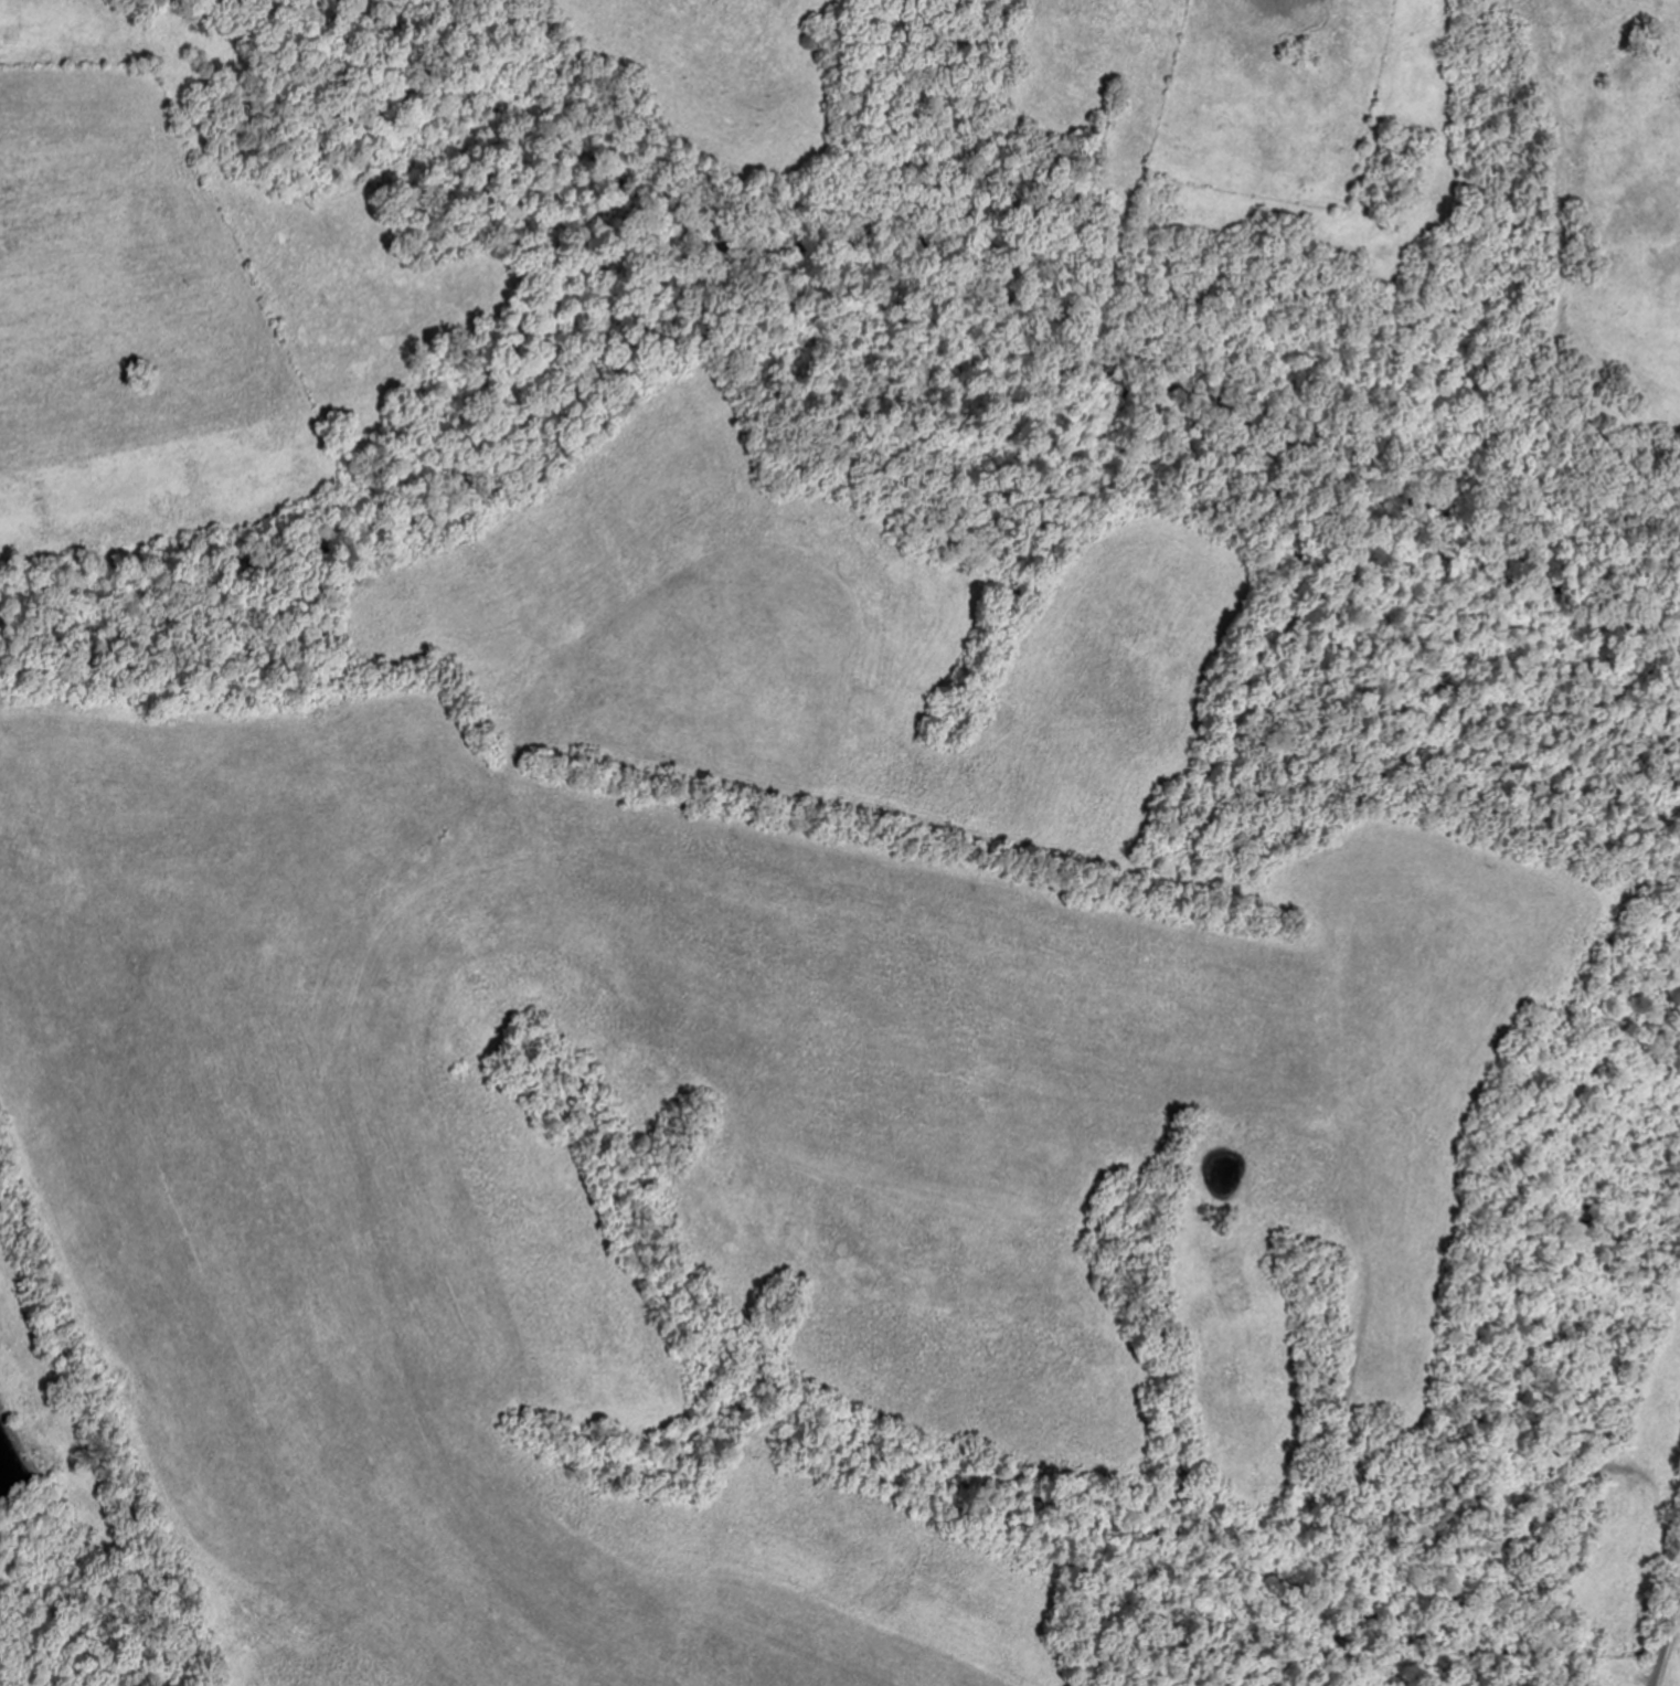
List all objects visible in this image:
road: (1535, 247)
road: (1667, 1637)

